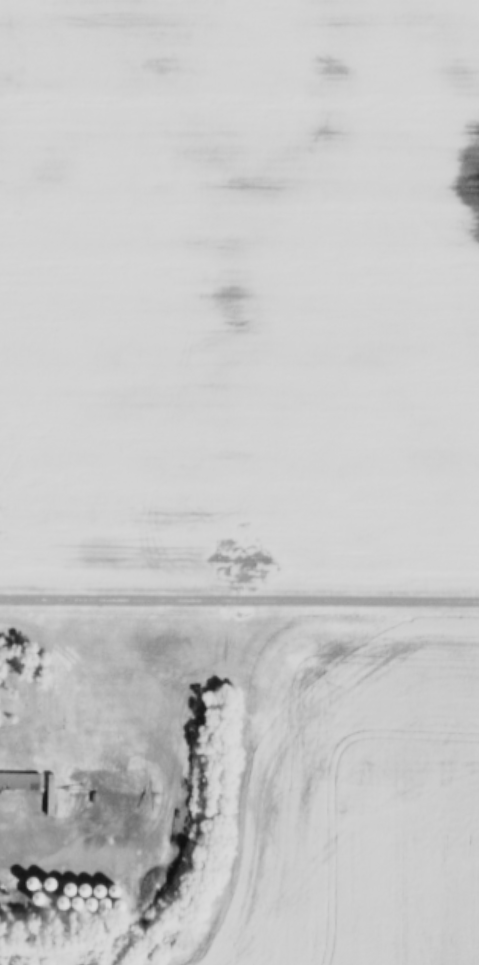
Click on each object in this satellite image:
road: (239, 596)
building: (34, 782)

